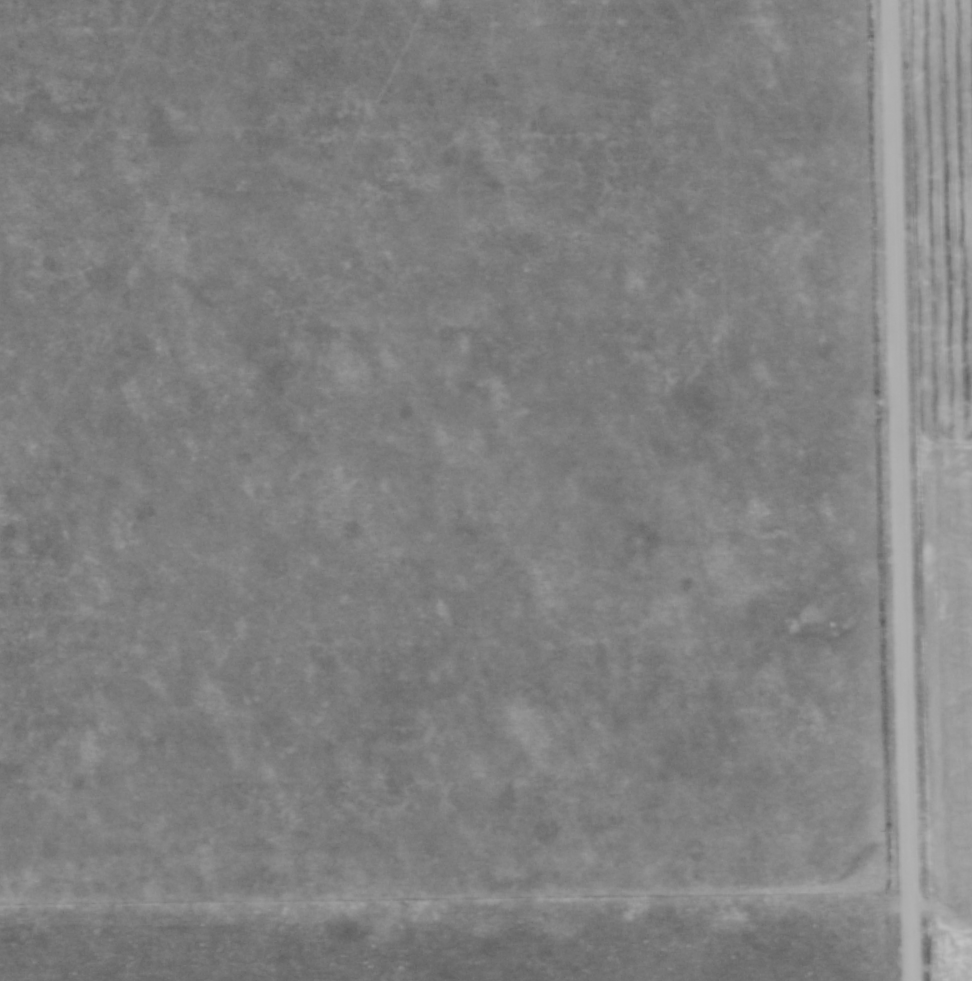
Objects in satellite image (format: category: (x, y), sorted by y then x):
road: (901, 490)
crop: (952, 956)

